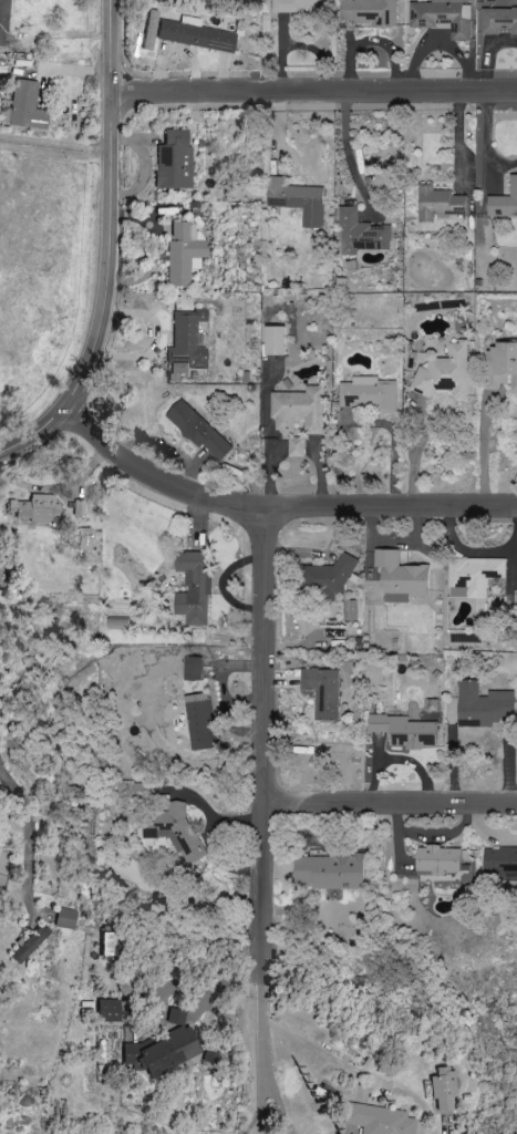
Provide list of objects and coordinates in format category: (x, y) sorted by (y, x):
building: (303, 6)
building: (370, 12)
building: (445, 17)
building: (500, 21)
building: (4, 22)
building: (195, 35)
road: (316, 91)
building: (23, 107)
road: (55, 152)
road: (349, 152)
building: (175, 161)
building: (300, 200)
building: (442, 203)
building: (505, 203)
building: (364, 234)
road: (114, 250)
building: (184, 255)
building: (280, 340)
building: (187, 343)
building: (505, 363)
building: (447, 372)
building: (372, 394)
building: (301, 409)
building: (201, 430)
building: (299, 446)
road: (484, 454)
building: (35, 509)
road: (276, 512)
building: (86, 539)
building: (477, 576)
building: (332, 577)
building: (405, 578)
building: (198, 588)
building: (123, 622)
building: (196, 669)
building: (325, 692)
building: (485, 705)
building: (204, 724)
building: (410, 732)
road: (267, 742)
road: (392, 803)
road: (28, 832)
building: (179, 833)
building: (445, 860)
building: (502, 862)
building: (333, 870)
building: (65, 919)
building: (31, 945)
building: (108, 1011)
building: (177, 1017)
road: (262, 1058)
building: (444, 1090)
road: (261, 1105)
building: (379, 1120)
road: (446, 1130)

